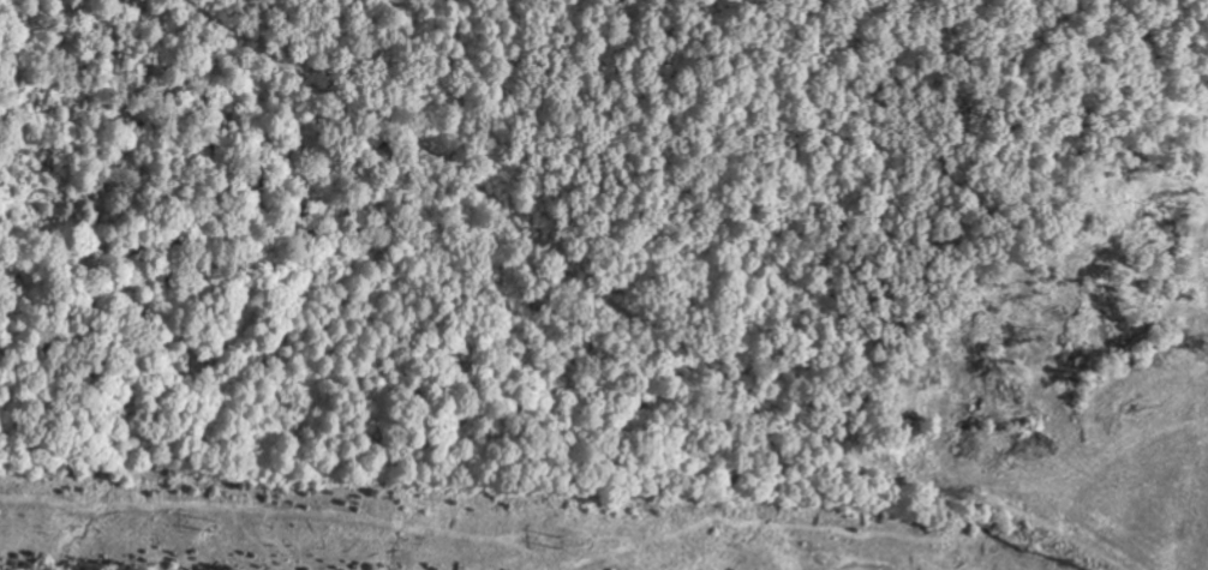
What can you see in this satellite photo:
power tower: (213, 527)
power tower: (561, 544)

